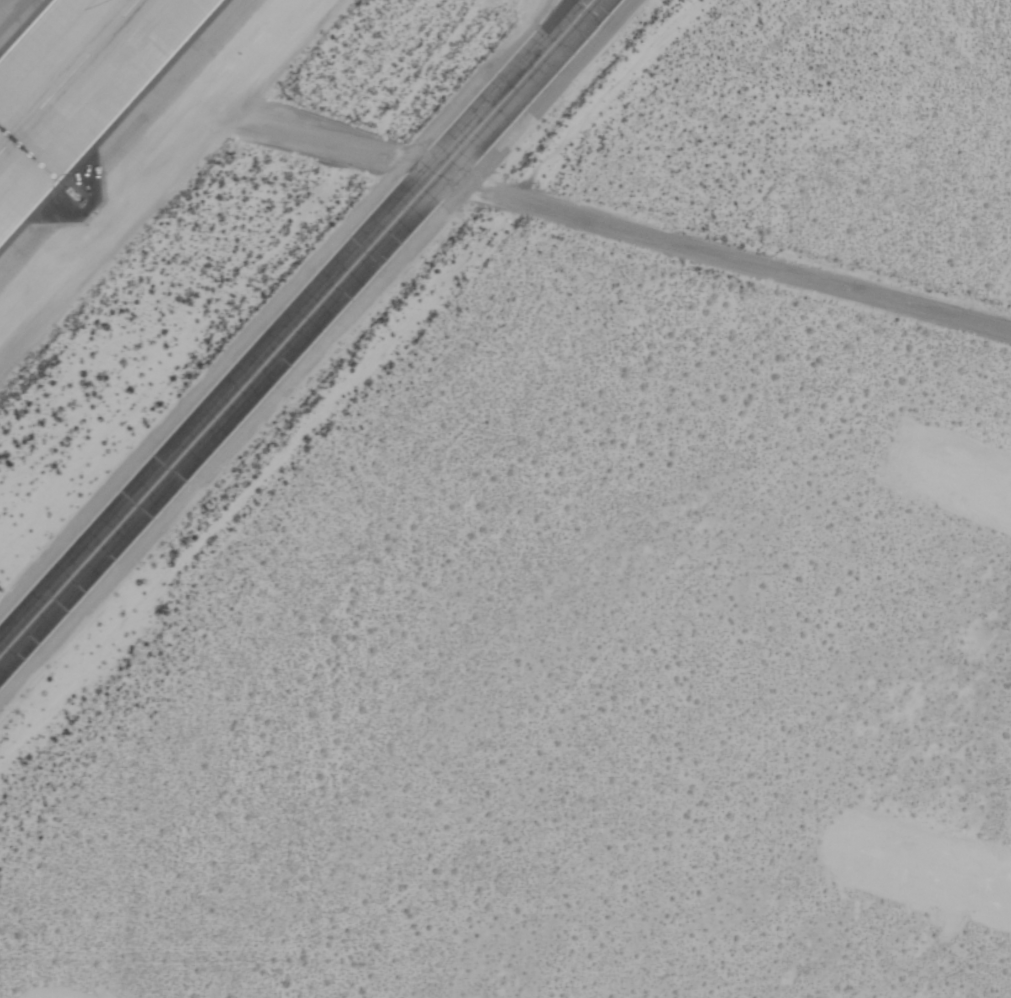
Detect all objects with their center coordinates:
airport runway: (68, 75)
airport taxiway: (296, 327)
airport: (505, 499)

